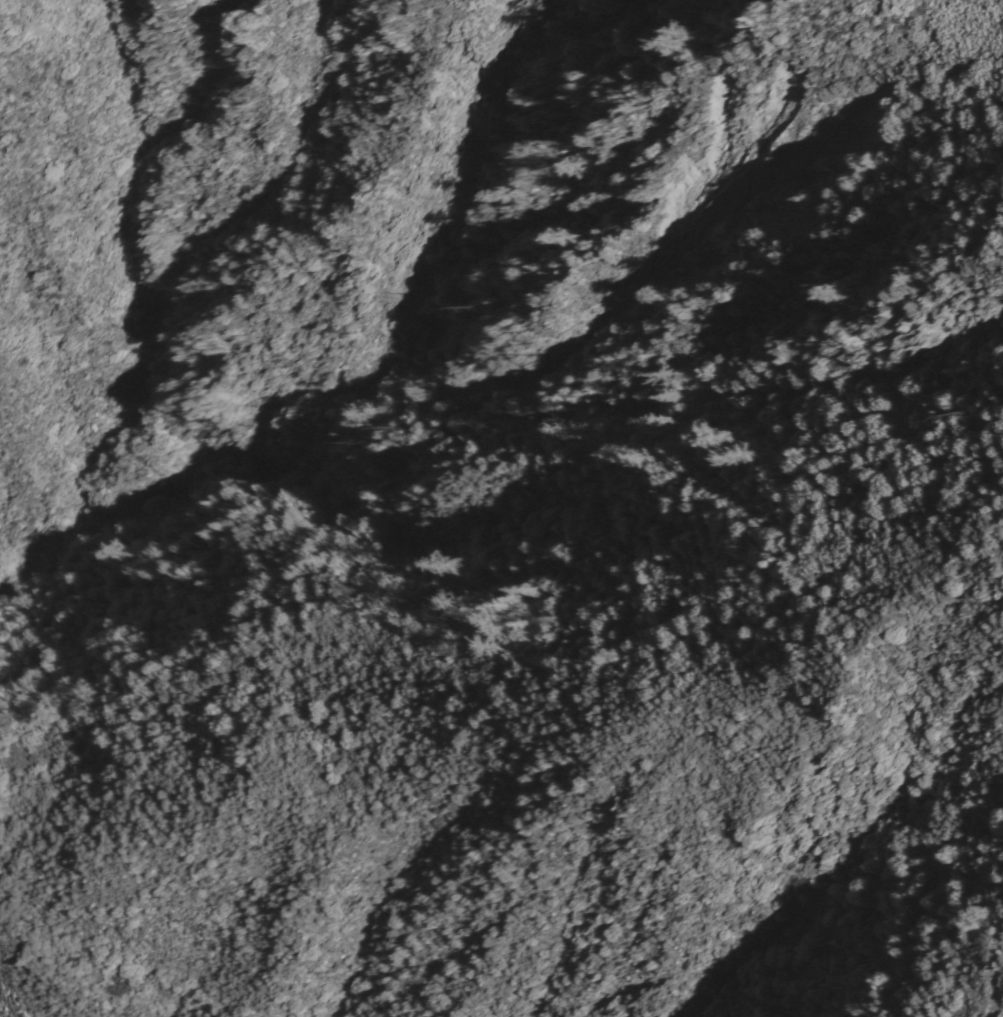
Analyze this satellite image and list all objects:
road: (975, 1006)

